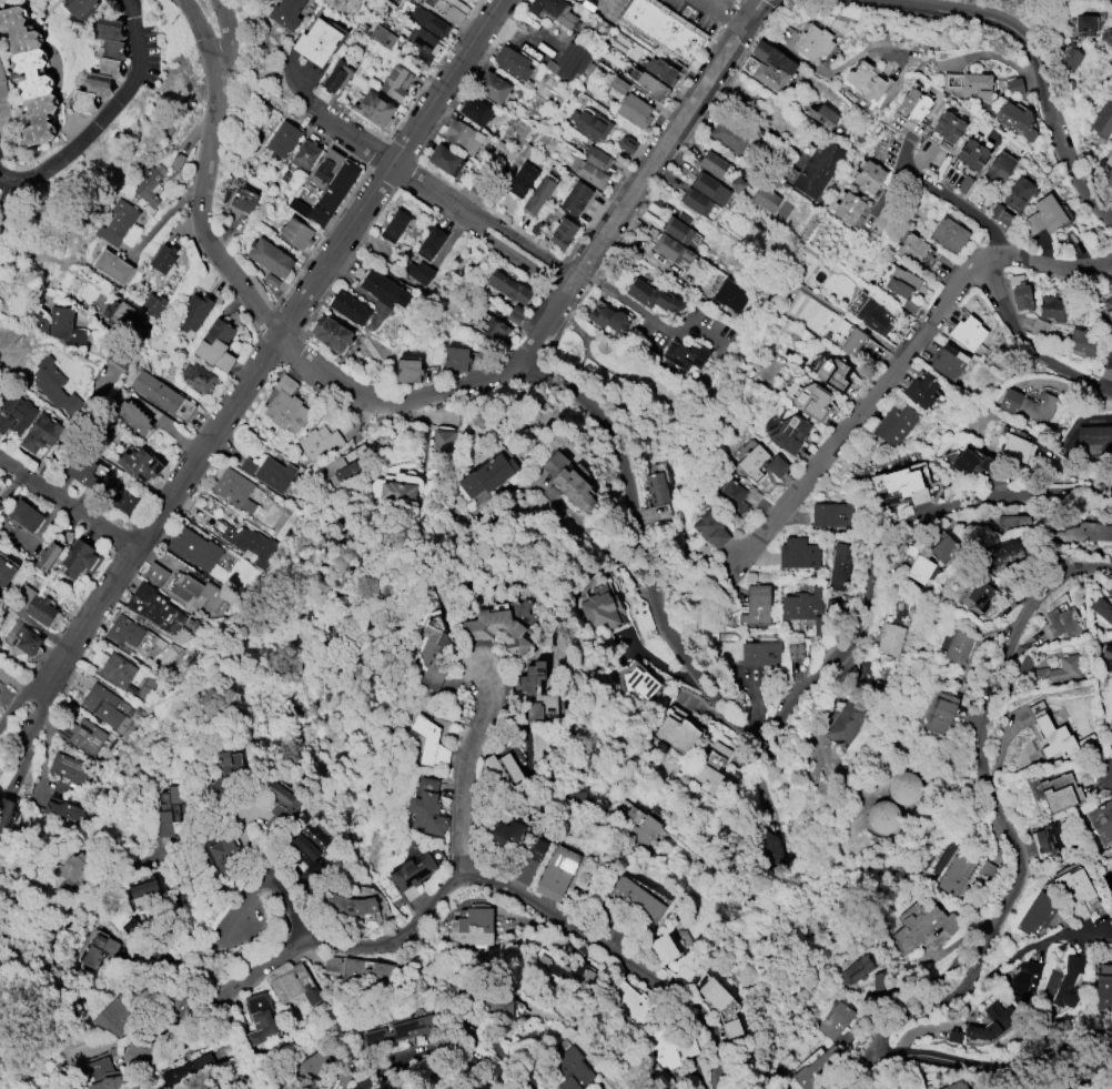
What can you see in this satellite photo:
building: (427, 1)
building: (335, 3)
parking lot: (719, 4)
road: (995, 8)
building: (73, 9)
building: (554, 11)
building: (285, 12)
road: (721, 12)
road: (959, 12)
parking lot: (695, 13)
building: (453, 14)
building: (428, 20)
building: (1083, 23)
building: (664, 29)
road: (205, 34)
building: (382, 34)
building: (1106, 34)
building: (423, 39)
building: (316, 40)
building: (812, 41)
road: (1035, 46)
building: (1070, 56)
building: (512, 61)
building: (569, 61)
building: (771, 64)
building: (93, 67)
road: (815, 68)
building: (0, 69)
building: (661, 70)
building: (336, 75)
building: (19, 79)
building: (866, 80)
building: (396, 81)
building: (967, 82)
building: (650, 84)
building: (1014, 84)
building: (492, 85)
building: (914, 102)
building: (629, 103)
building: (373, 107)
building: (475, 110)
building: (822, 114)
road: (103, 115)
road: (752, 118)
building: (1102, 119)
building: (1015, 120)
building: (589, 122)
building: (948, 125)
building: (729, 134)
building: (463, 135)
building: (282, 139)
road: (1058, 140)
building: (626, 143)
building: (971, 153)
building: (304, 154)
building: (596, 157)
building: (445, 159)
building: (1110, 160)
building: (712, 162)
building: (999, 165)
building: (818, 167)
building: (325, 168)
building: (587, 171)
building: (868, 175)
building: (522, 179)
building: (737, 183)
building: (144, 184)
building: (709, 186)
road: (937, 192)
building: (1018, 192)
building: (327, 194)
road: (432, 194)
building: (537, 194)
building: (575, 196)
building: (765, 196)
building: (243, 199)
road: (624, 200)
building: (695, 200)
building: (848, 206)
building: (993, 210)
building: (1043, 215)
building: (117, 221)
building: (394, 224)
building: (678, 226)
building: (295, 232)
building: (562, 232)
building: (949, 234)
building: (431, 242)
building: (670, 248)
building: (911, 249)
building: (269, 256)
building: (162, 258)
building: (112, 265)
building: (417, 271)
building: (507, 285)
building: (902, 285)
building: (381, 286)
building: (1020, 292)
building: (651, 295)
building: (729, 296)
building: (153, 303)
building: (348, 306)
building: (1051, 306)
building: (1108, 307)
building: (193, 311)
building: (121, 315)
road: (649, 315)
building: (875, 315)
building: (608, 317)
building: (58, 323)
building: (492, 326)
building: (1039, 326)
building: (967, 331)
building: (331, 332)
building: (852, 340)
building: (1081, 341)
building: (215, 344)
road: (1028, 344)
road: (266, 349)
building: (685, 354)
road: (907, 355)
building: (1109, 355)
building: (455, 357)
building: (948, 362)
building: (407, 370)
building: (835, 372)
building: (198, 376)
building: (52, 384)
park: (597, 384)
building: (155, 390)
building: (921, 390)
building: (811, 400)
building: (1028, 404)
building: (285, 405)
building: (14, 412)
building: (132, 416)
road: (166, 422)
building: (894, 423)
road: (476, 425)
road: (69, 427)
building: (39, 433)
building: (789, 433)
building: (1096, 435)
building: (443, 438)
building: (319, 441)
building: (1015, 446)
building: (970, 461)
building: (760, 462)
building: (139, 463)
building: (246, 465)
building: (82, 470)
building: (337, 470)
building: (274, 473)
building: (487, 474)
road: (624, 480)
building: (568, 481)
building: (906, 484)
building: (400, 487)
building: (656, 487)
building: (233, 488)
building: (730, 493)
building: (0, 500)
building: (123, 501)
road: (67, 504)
building: (24, 514)
building: (831, 514)
building: (1012, 524)
building: (709, 528)
building: (1085, 531)
building: (245, 541)
building: (193, 547)
building: (944, 547)
building: (1000, 552)
building: (798, 553)
building: (47, 555)
building: (79, 558)
building: (843, 566)
building: (921, 568)
building: (4, 571)
building: (154, 572)
building: (195, 589)
building: (981, 593)
building: (34, 604)
building: (152, 605)
building: (756, 605)
building: (600, 606)
building: (803, 606)
building: (1102, 608)
building: (1060, 622)
building: (496, 628)
building: (124, 629)
building: (890, 637)
building: (26, 639)
building: (956, 645)
building: (796, 651)
building: (759, 652)
building: (433, 653)
building: (1106, 657)
building: (1058, 669)
building: (124, 675)
building: (639, 680)
road: (16, 686)
building: (536, 690)
building: (101, 704)
building: (941, 712)
road: (16, 715)
building: (847, 719)
building: (1110, 723)
building: (79, 733)
building: (677, 733)
building: (1054, 738)
building: (428, 740)
road: (464, 767)
building: (712, 767)
building: (502, 769)
building: (68, 774)
building: (225, 775)
building: (903, 787)
building: (1059, 791)
building: (426, 806)
building: (169, 808)
building: (281, 808)
building: (65, 809)
building: (6, 810)
building: (882, 816)
road: (1003, 818)
building: (1101, 820)
building: (640, 825)
building: (506, 831)
building: (1049, 837)
building: (770, 848)
building: (303, 853)
building: (226, 856)
building: (528, 861)
building: (957, 869)
building: (69, 871)
building: (556, 871)
building: (985, 873)
building: (412, 875)
building: (142, 887)
road: (449, 888)
building: (1073, 891)
building: (635, 899)
building: (351, 904)
building: (1037, 912)
building: (922, 925)
building: (472, 927)
road: (1033, 947)
building: (97, 949)
building: (667, 956)
building: (362, 968)
road: (202, 969)
building: (856, 969)
building: (1024, 980)
building: (879, 981)
building: (1062, 982)
building: (294, 984)
building: (1103, 986)
building: (714, 992)
building: (630, 1001)
building: (504, 1006)
building: (115, 1012)
building: (259, 1017)
building: (835, 1018)
building: (992, 1021)
building: (731, 1027)
building: (400, 1030)
building: (954, 1036)
building: (673, 1048)
road: (442, 1057)
road: (980, 1063)
building: (311, 1065)
building: (817, 1067)
building: (185, 1068)
building: (573, 1068)
road: (851, 1070)
road: (1088, 1072)
building: (101, 1076)
building: (957, 1085)
building: (213, 1087)
building: (467, 1088)
building: (471, 1088)

